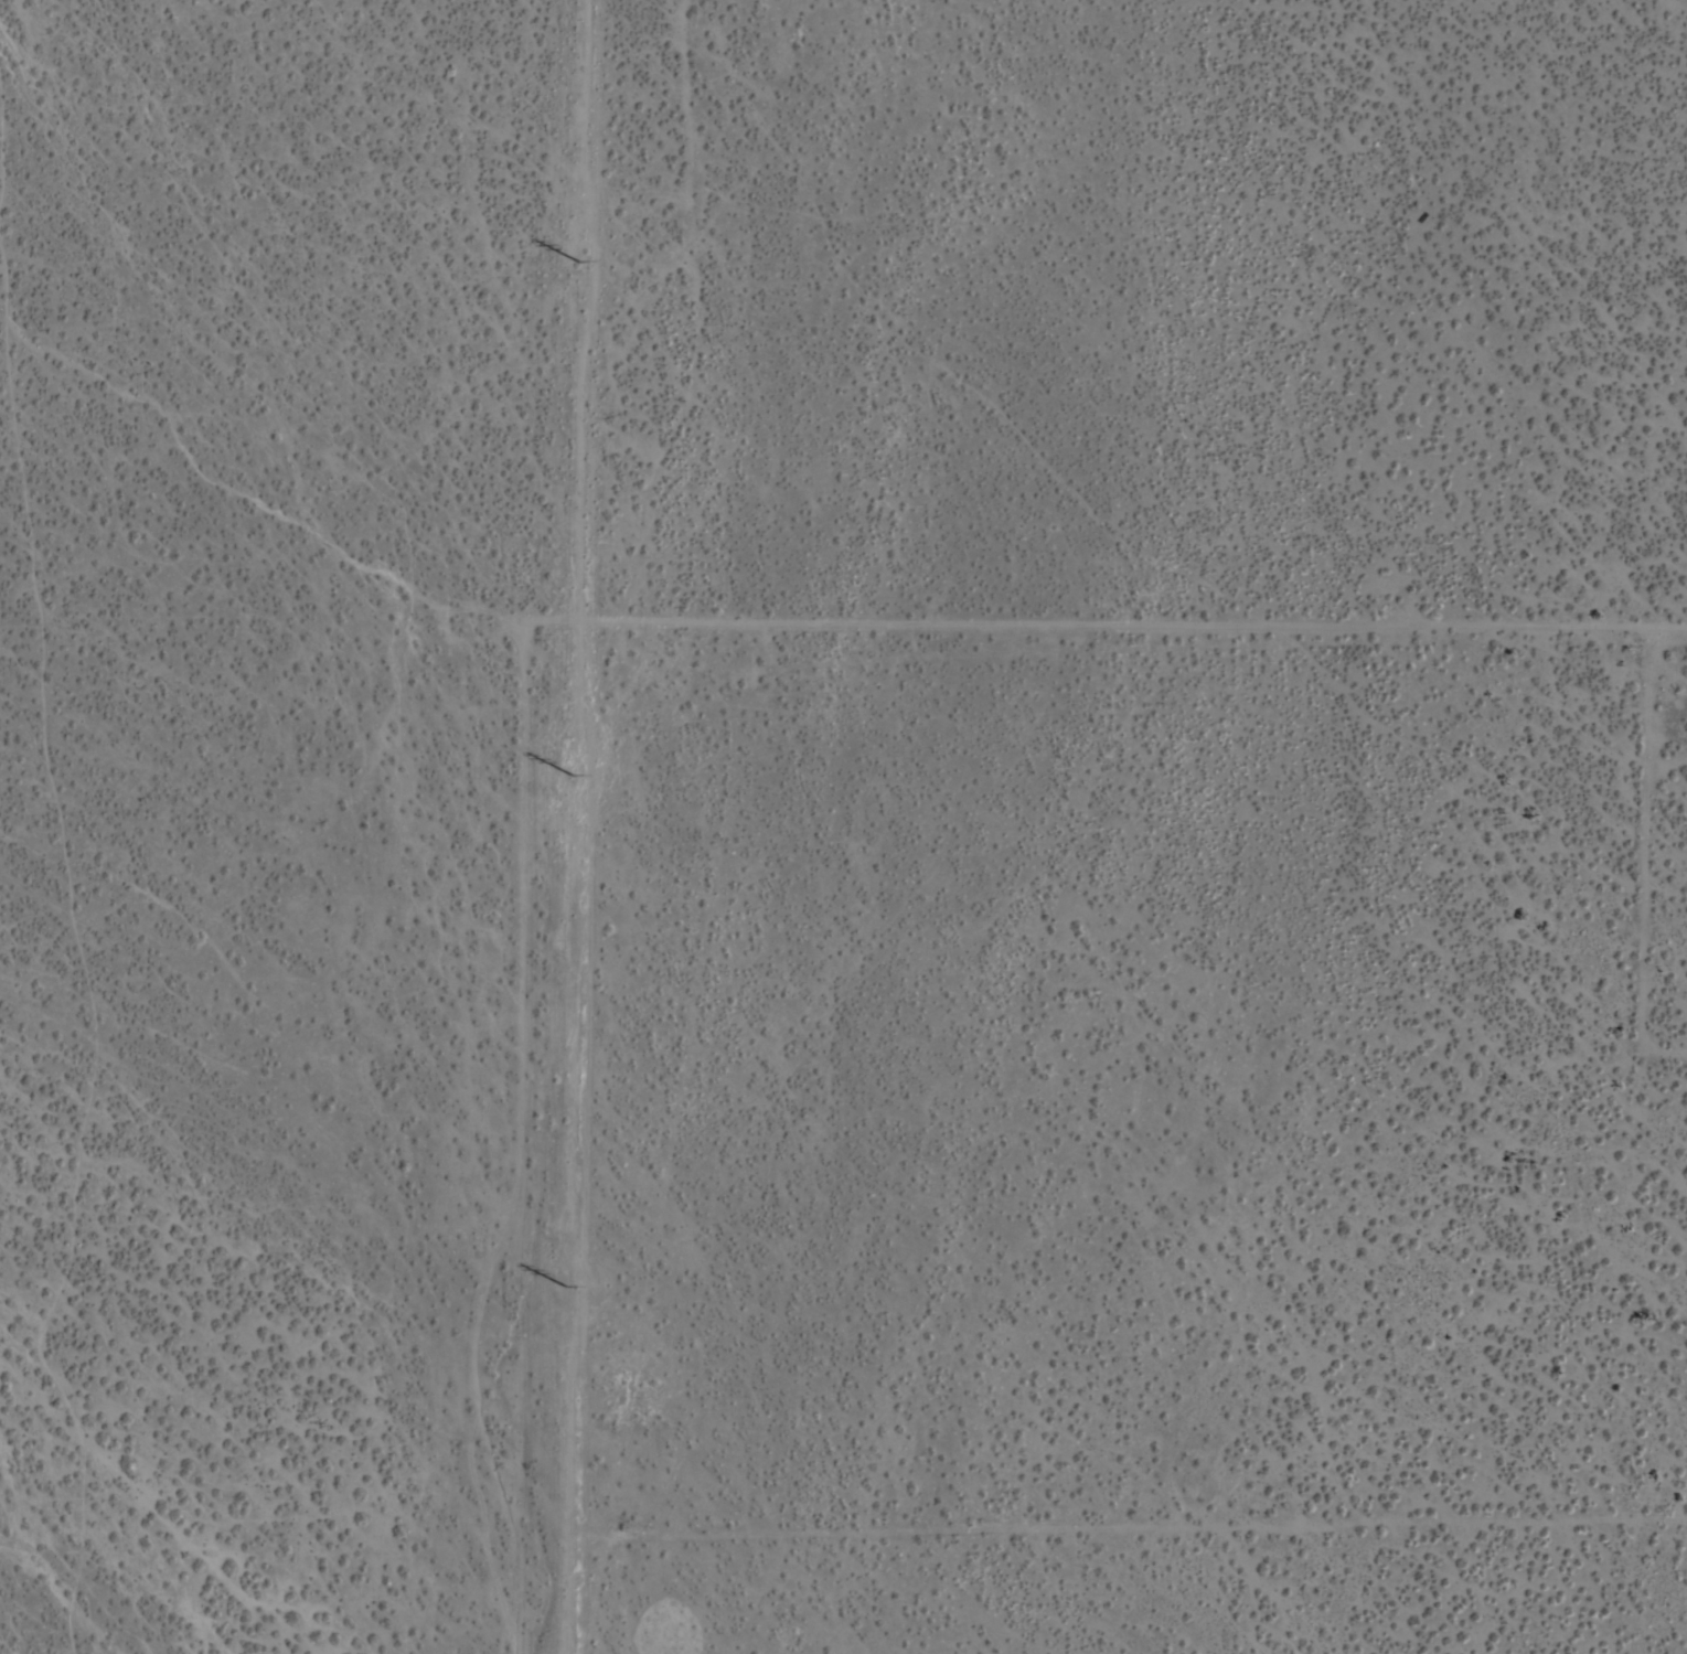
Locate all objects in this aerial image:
road: (0, 2)
power tower: (579, 262)
power tower: (570, 772)
power tower: (568, 1279)

